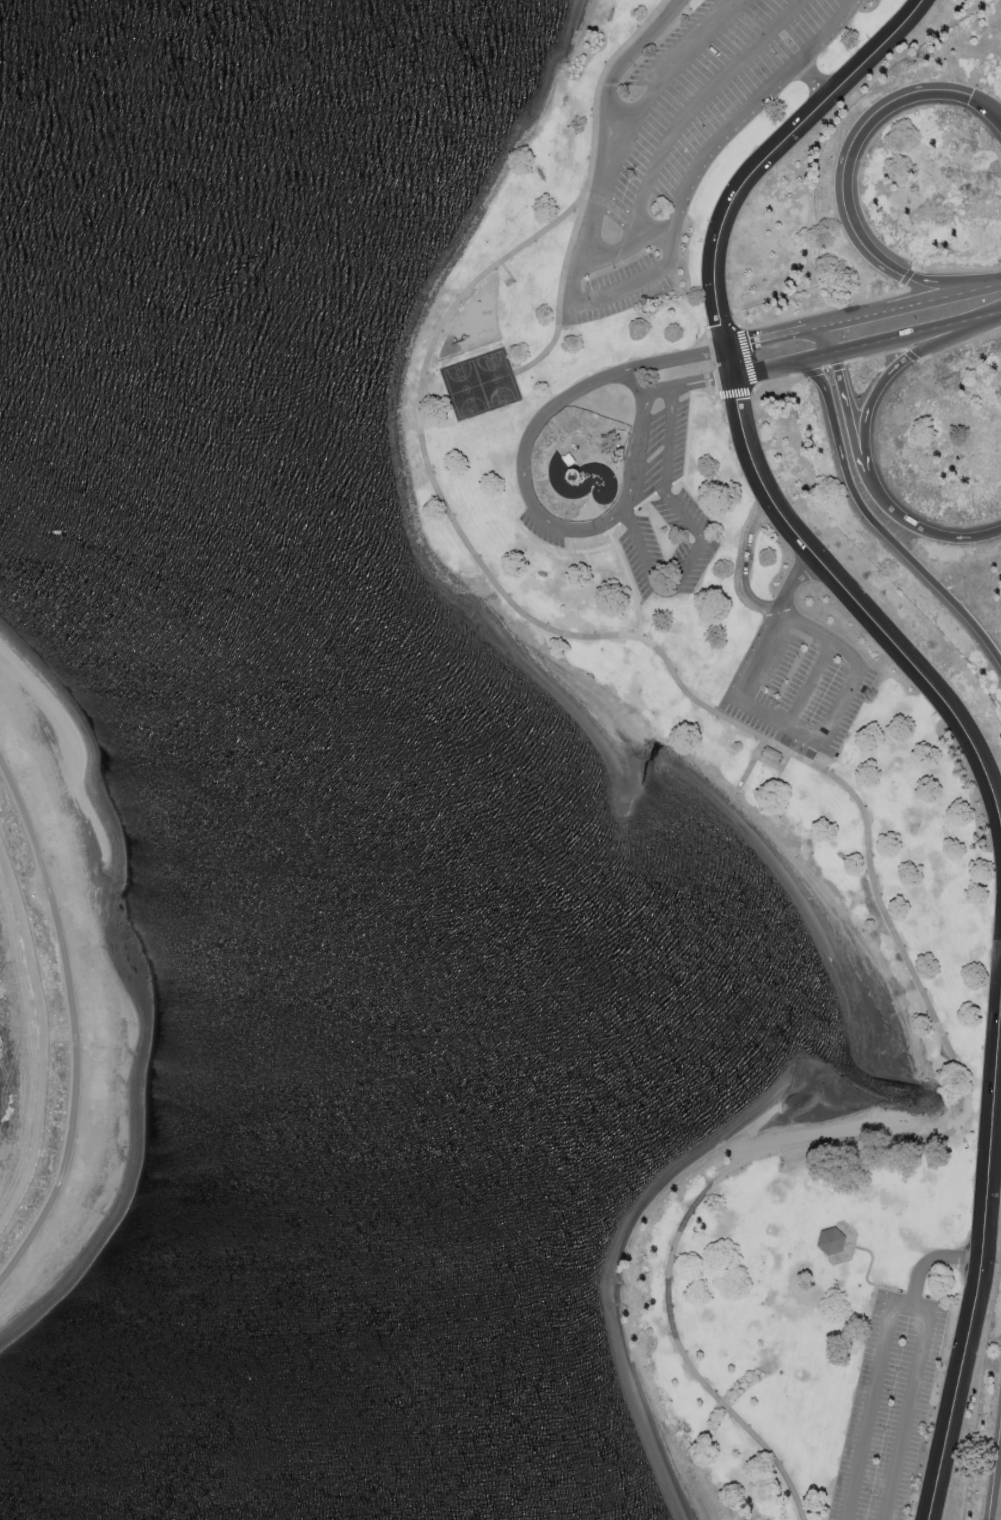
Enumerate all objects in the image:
road: (622, 67)
road: (813, 78)
road: (599, 88)
road: (986, 105)
road: (697, 106)
parking lot: (683, 139)
road: (853, 154)
road: (759, 162)
road: (626, 248)
road: (956, 271)
road: (907, 277)
road: (990, 284)
road: (940, 285)
road: (560, 296)
road: (605, 296)
road: (897, 308)
road: (822, 312)
road: (975, 319)
road: (811, 329)
road: (722, 330)
road: (803, 331)
road: (761, 340)
road: (959, 344)
road: (841, 353)
road: (911, 356)
road: (875, 357)
road: (747, 358)
road: (822, 370)
road: (720, 378)
road: (776, 381)
road: (888, 381)
park: (479, 384)
road: (635, 386)
road: (843, 392)
road: (734, 395)
road: (686, 472)
building: (582, 480)
road: (869, 482)
road: (528, 502)
parking lot: (646, 511)
road: (604, 522)
road: (878, 527)
road: (936, 537)
road: (594, 539)
road: (702, 539)
road: (579, 541)
road: (593, 549)
road: (742, 567)
road: (630, 583)
road: (791, 586)
road: (858, 606)
parking lot: (801, 687)
road: (809, 688)
park: (722, 746)
road: (820, 746)
road: (752, 764)
road: (870, 843)
park: (55, 1001)
road: (74, 1023)
building: (831, 1242)
road: (980, 1251)
road: (922, 1357)
road: (872, 1404)
parking lot: (888, 1412)

